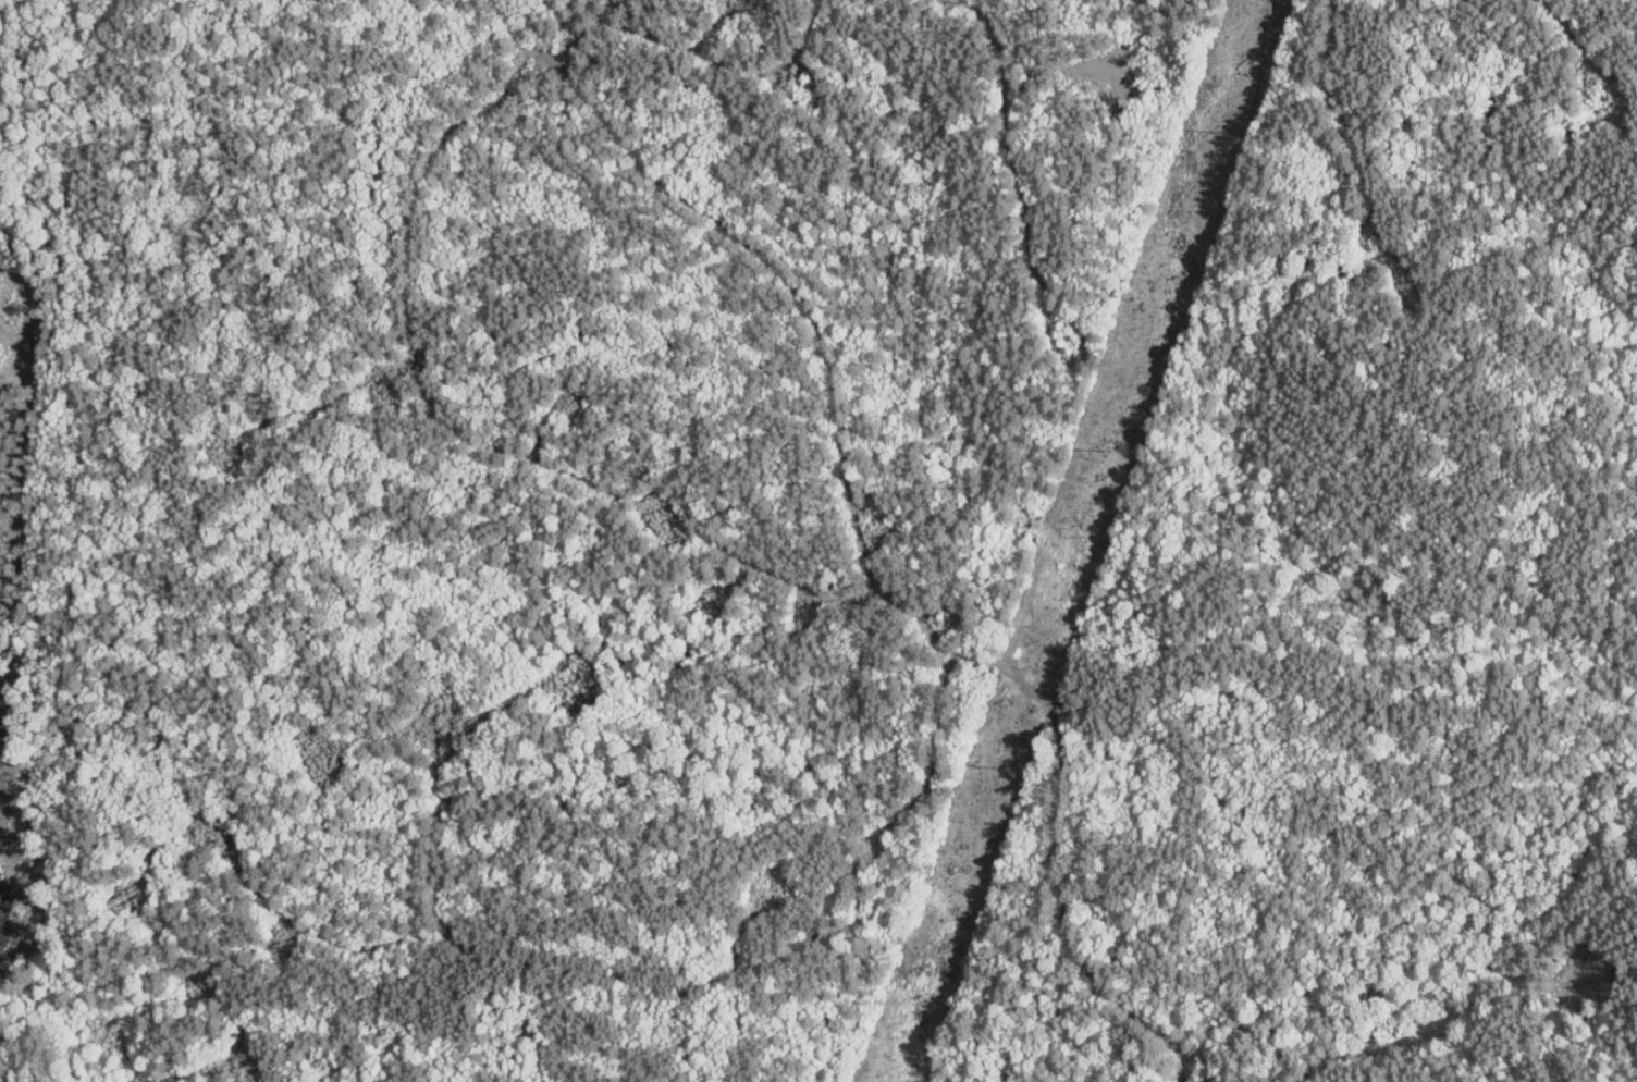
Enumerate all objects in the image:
power tower: (1219, 131)
power tower: (1109, 448)
power tower: (998, 765)

